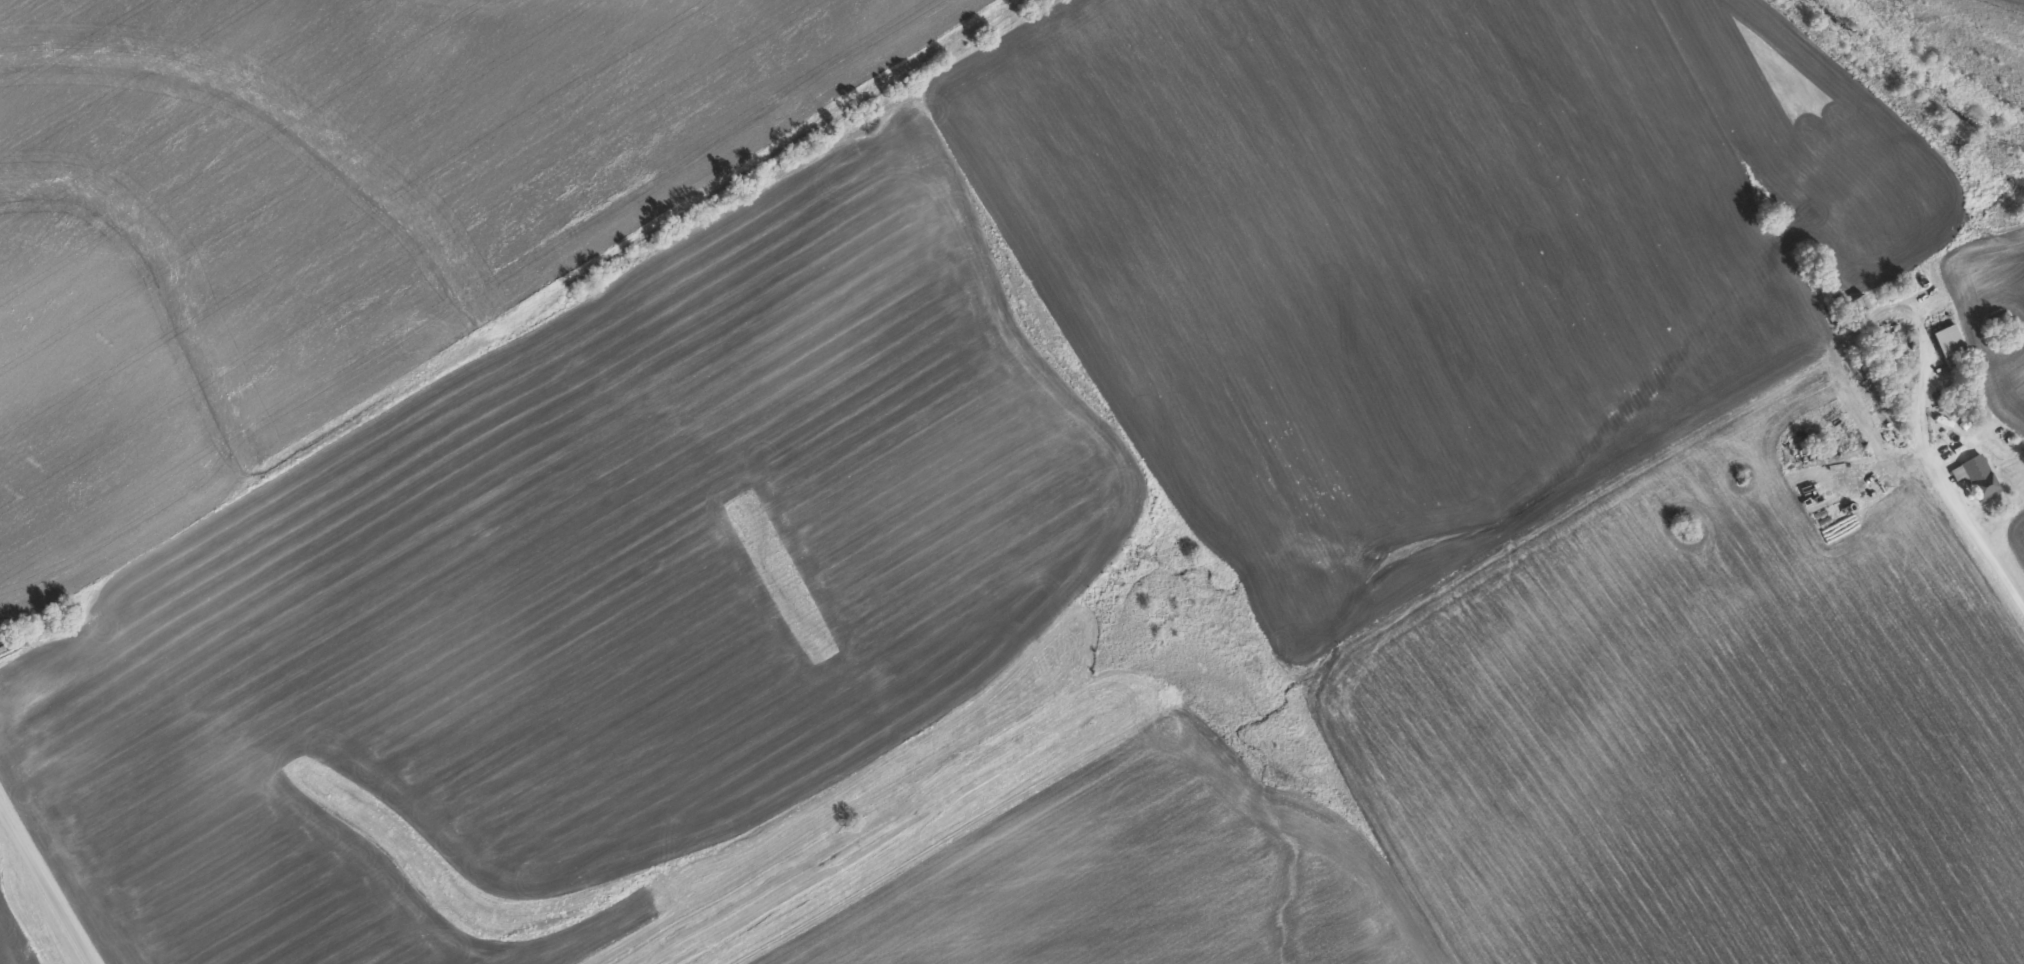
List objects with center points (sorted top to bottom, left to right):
building: (1948, 340)
building: (1979, 476)
road: (46, 885)

